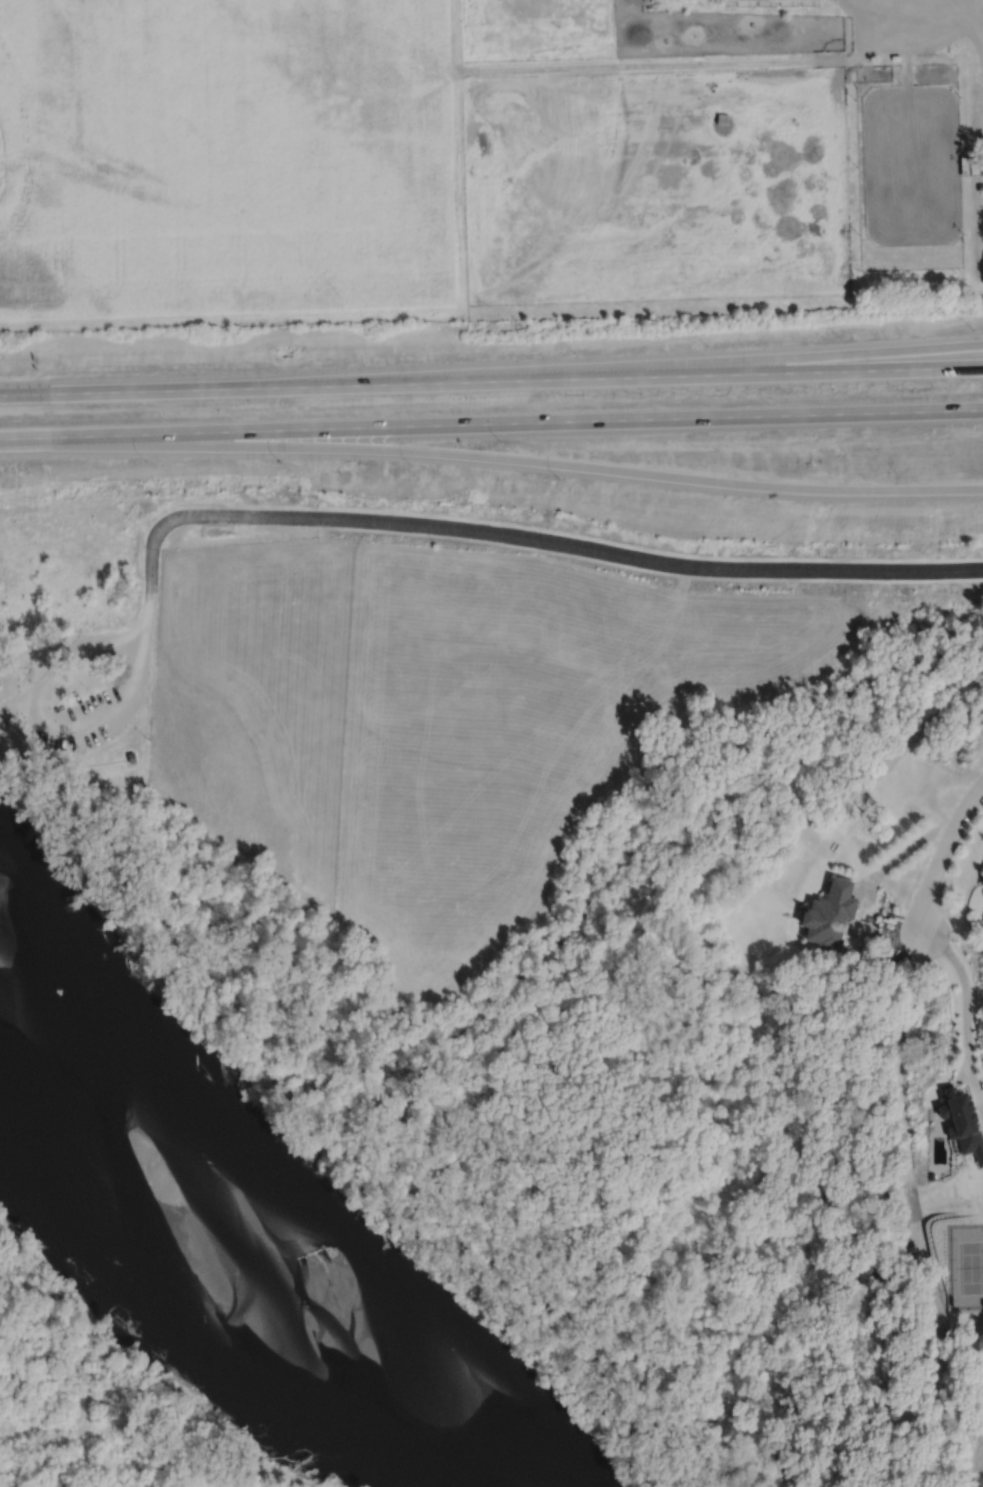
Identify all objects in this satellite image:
road: (978, 24)
building: (968, 164)
road: (663, 366)
road: (491, 380)
road: (491, 423)
road: (21, 447)
road: (513, 463)
road: (521, 536)
park: (76, 682)
road: (49, 729)
road: (878, 775)
road: (982, 783)
road: (943, 853)
road: (898, 856)
building: (830, 915)
road: (967, 1015)
building: (962, 1123)
building: (931, 1176)
road: (908, 1217)
river: (227, 1253)
park: (966, 1265)

